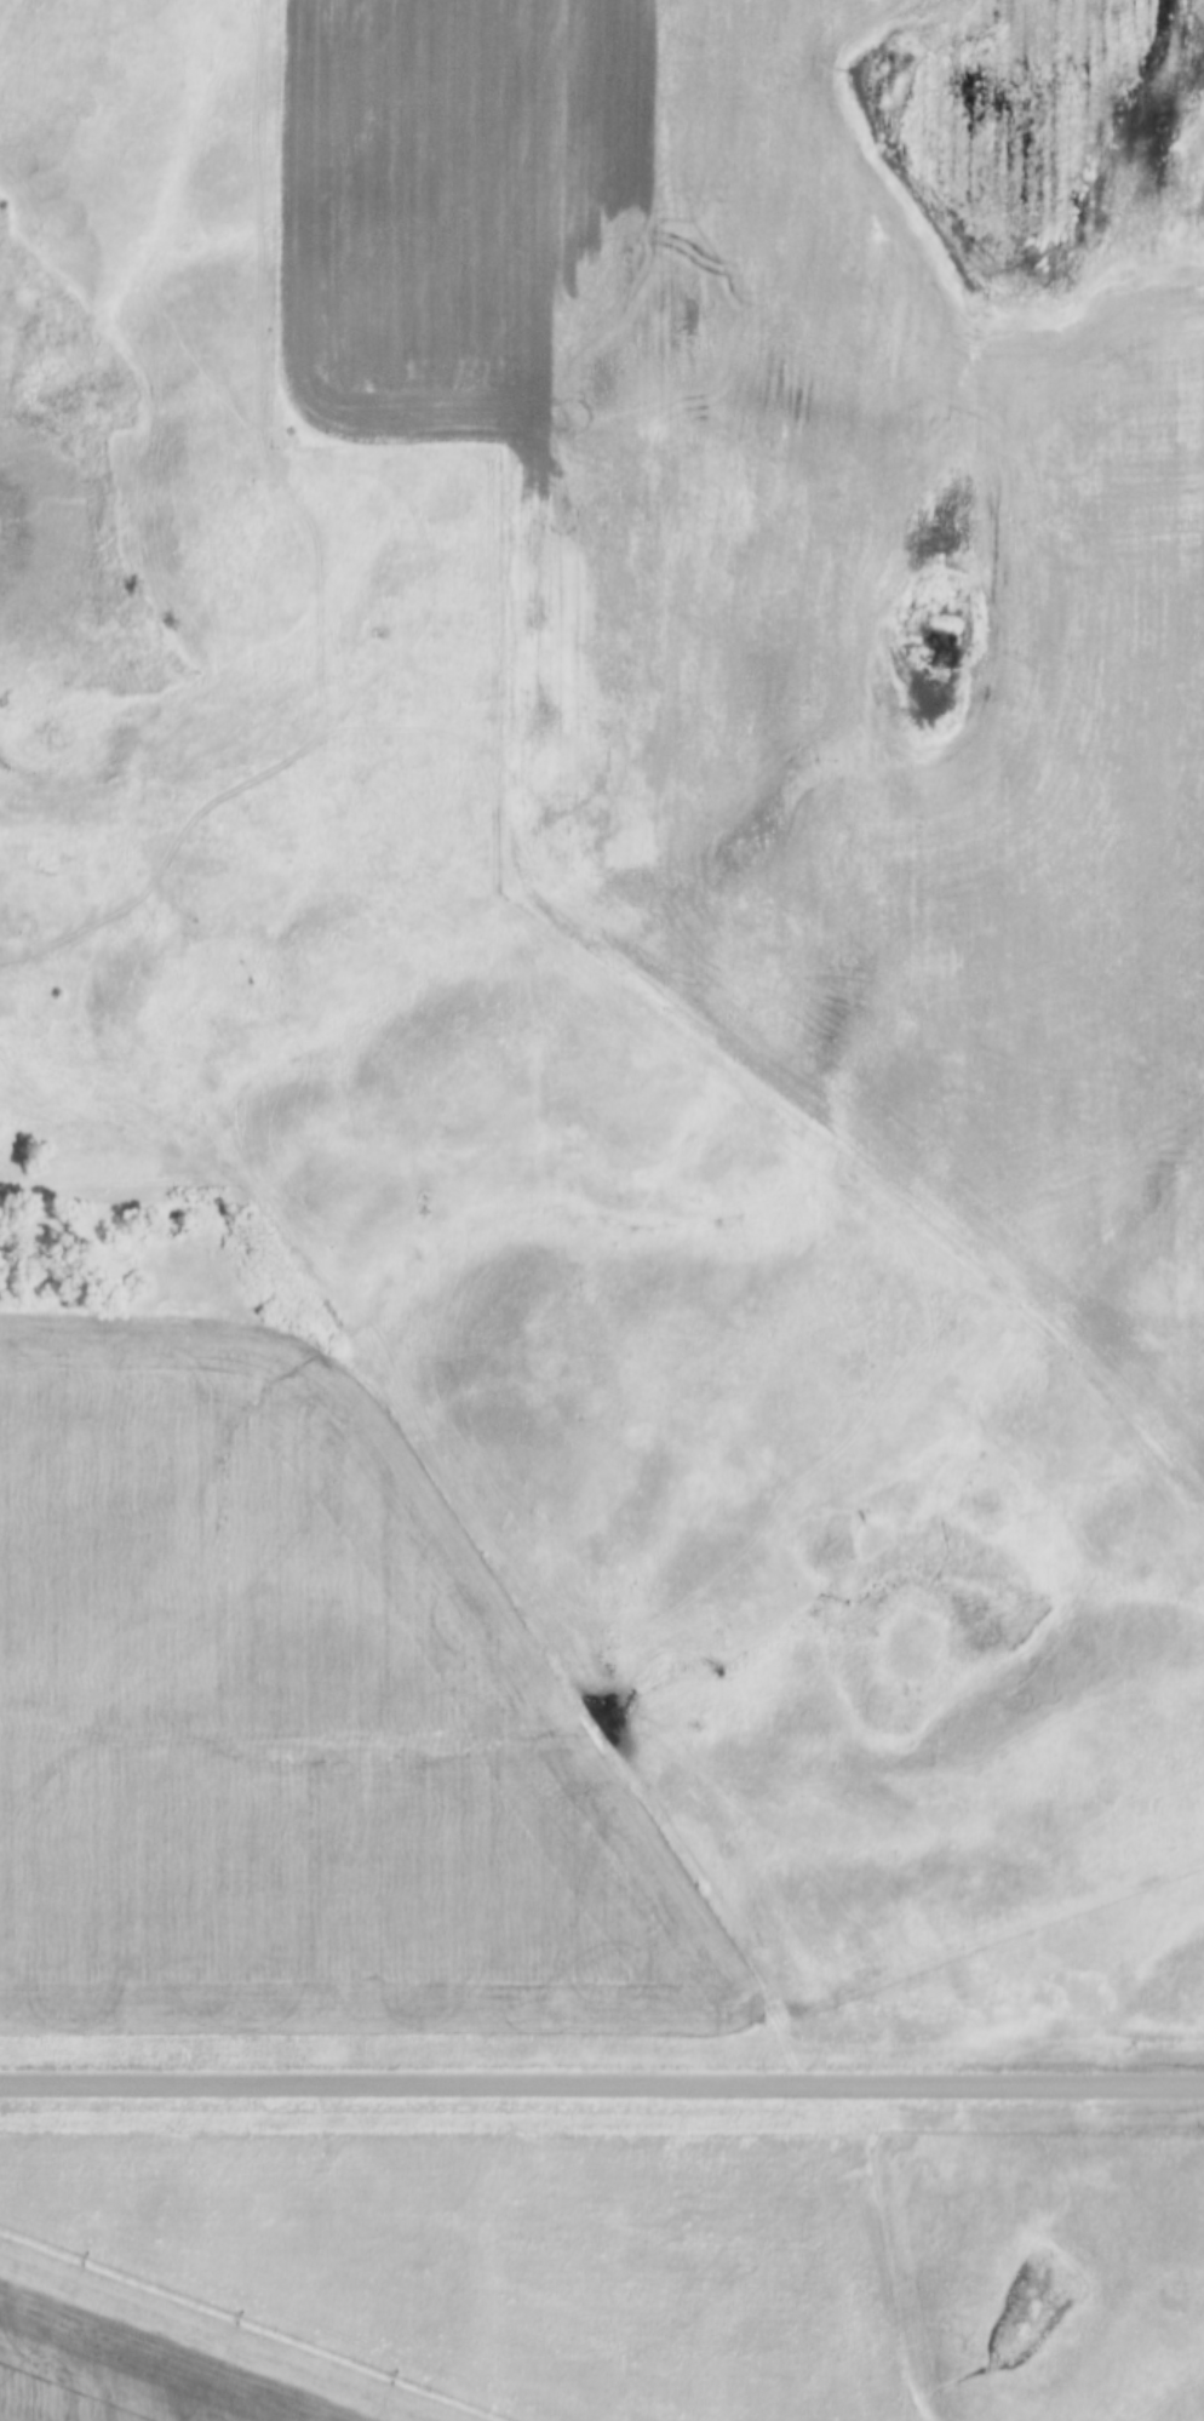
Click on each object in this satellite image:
road: (602, 2085)

